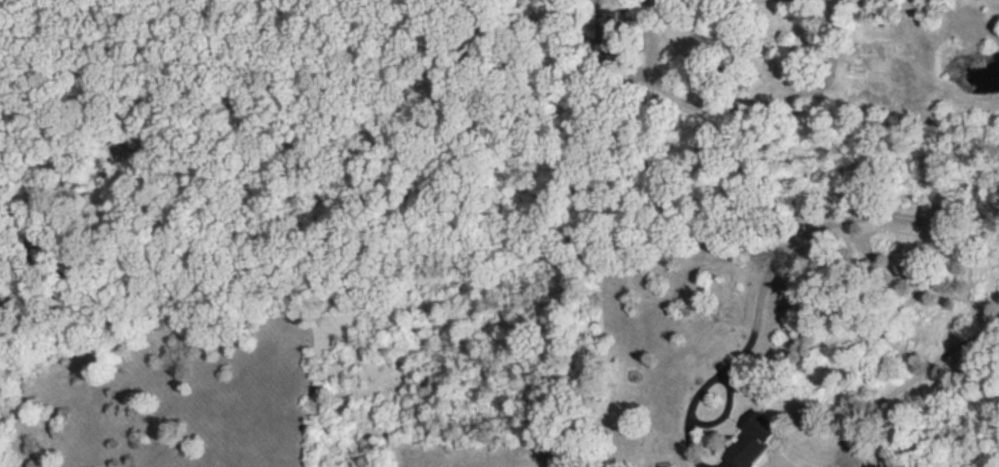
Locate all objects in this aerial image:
road: (734, 109)
road: (776, 258)
building: (758, 442)

